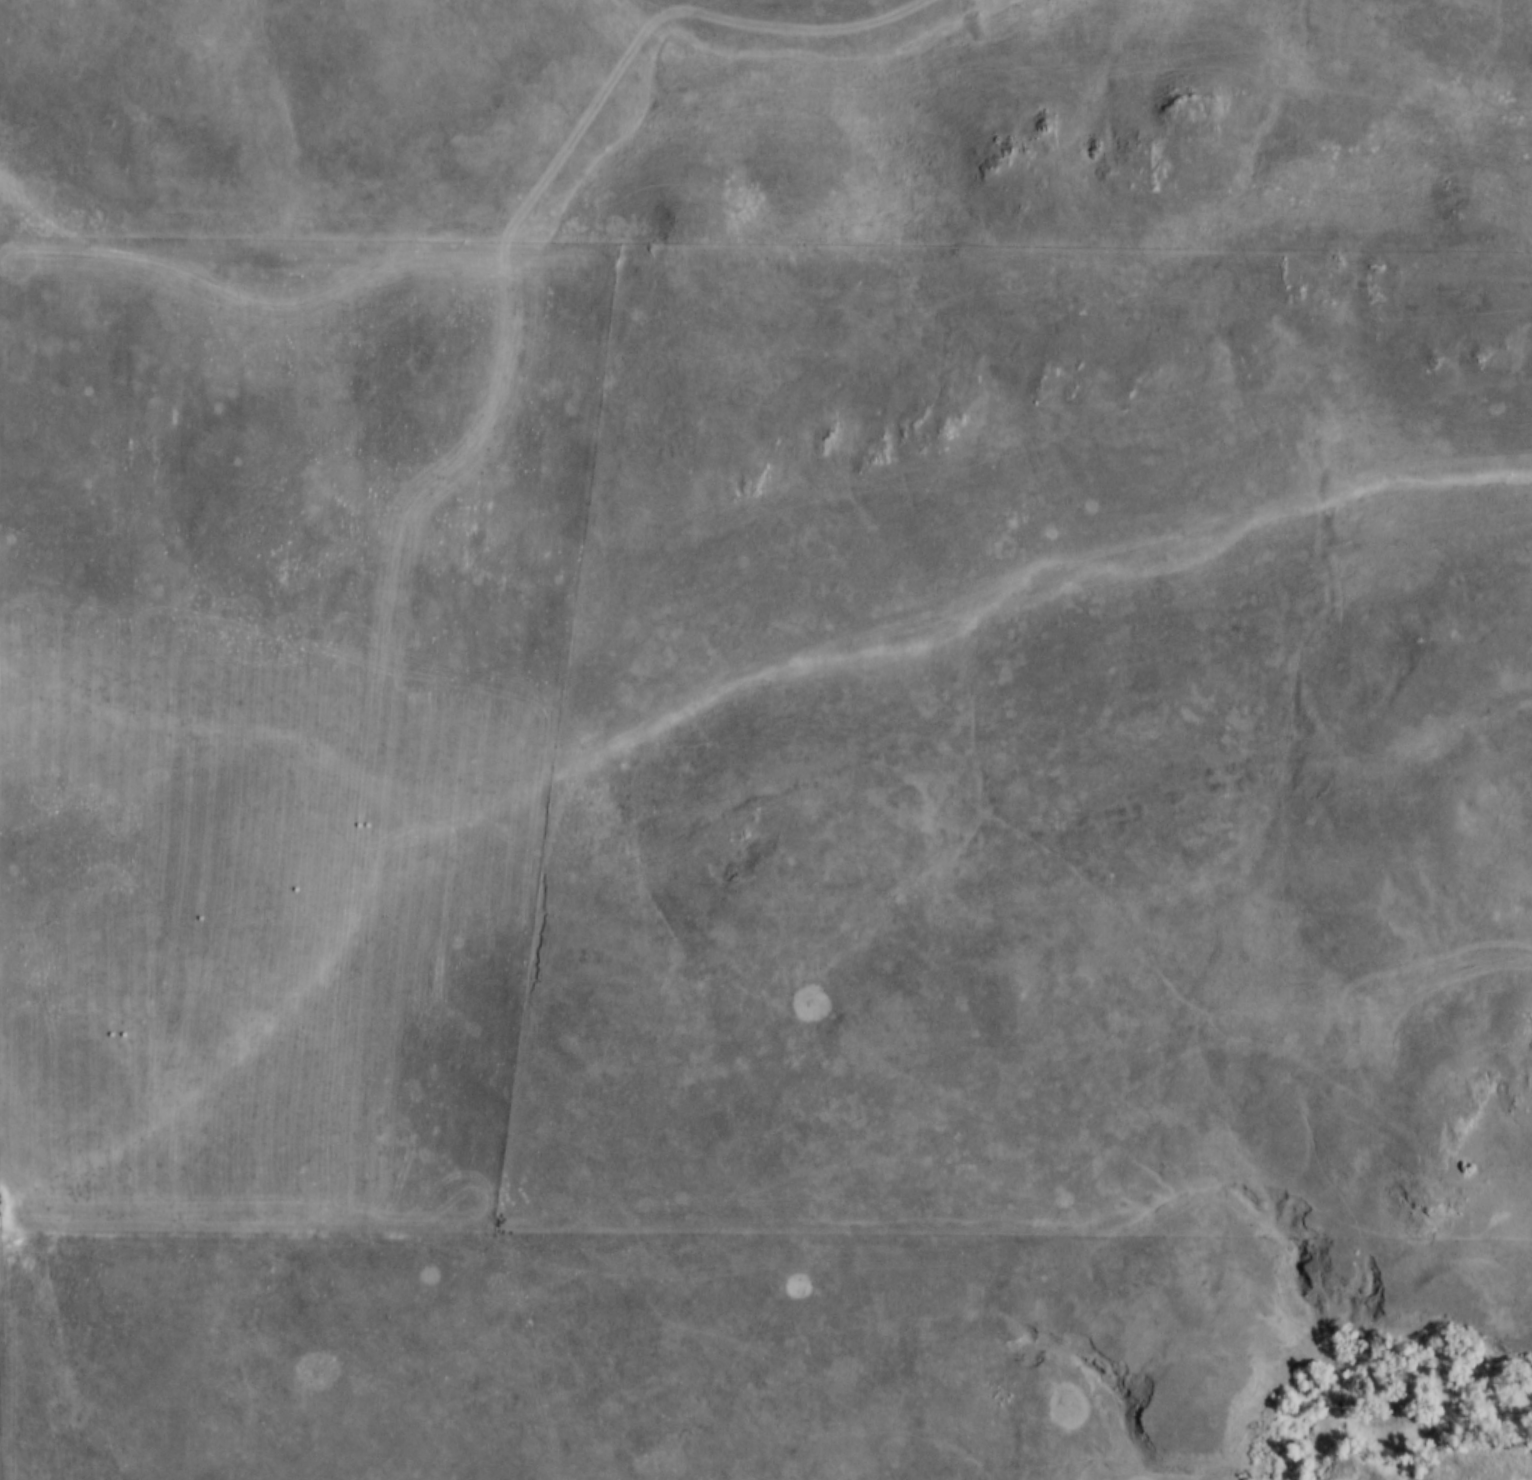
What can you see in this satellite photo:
road: (793, 32)

